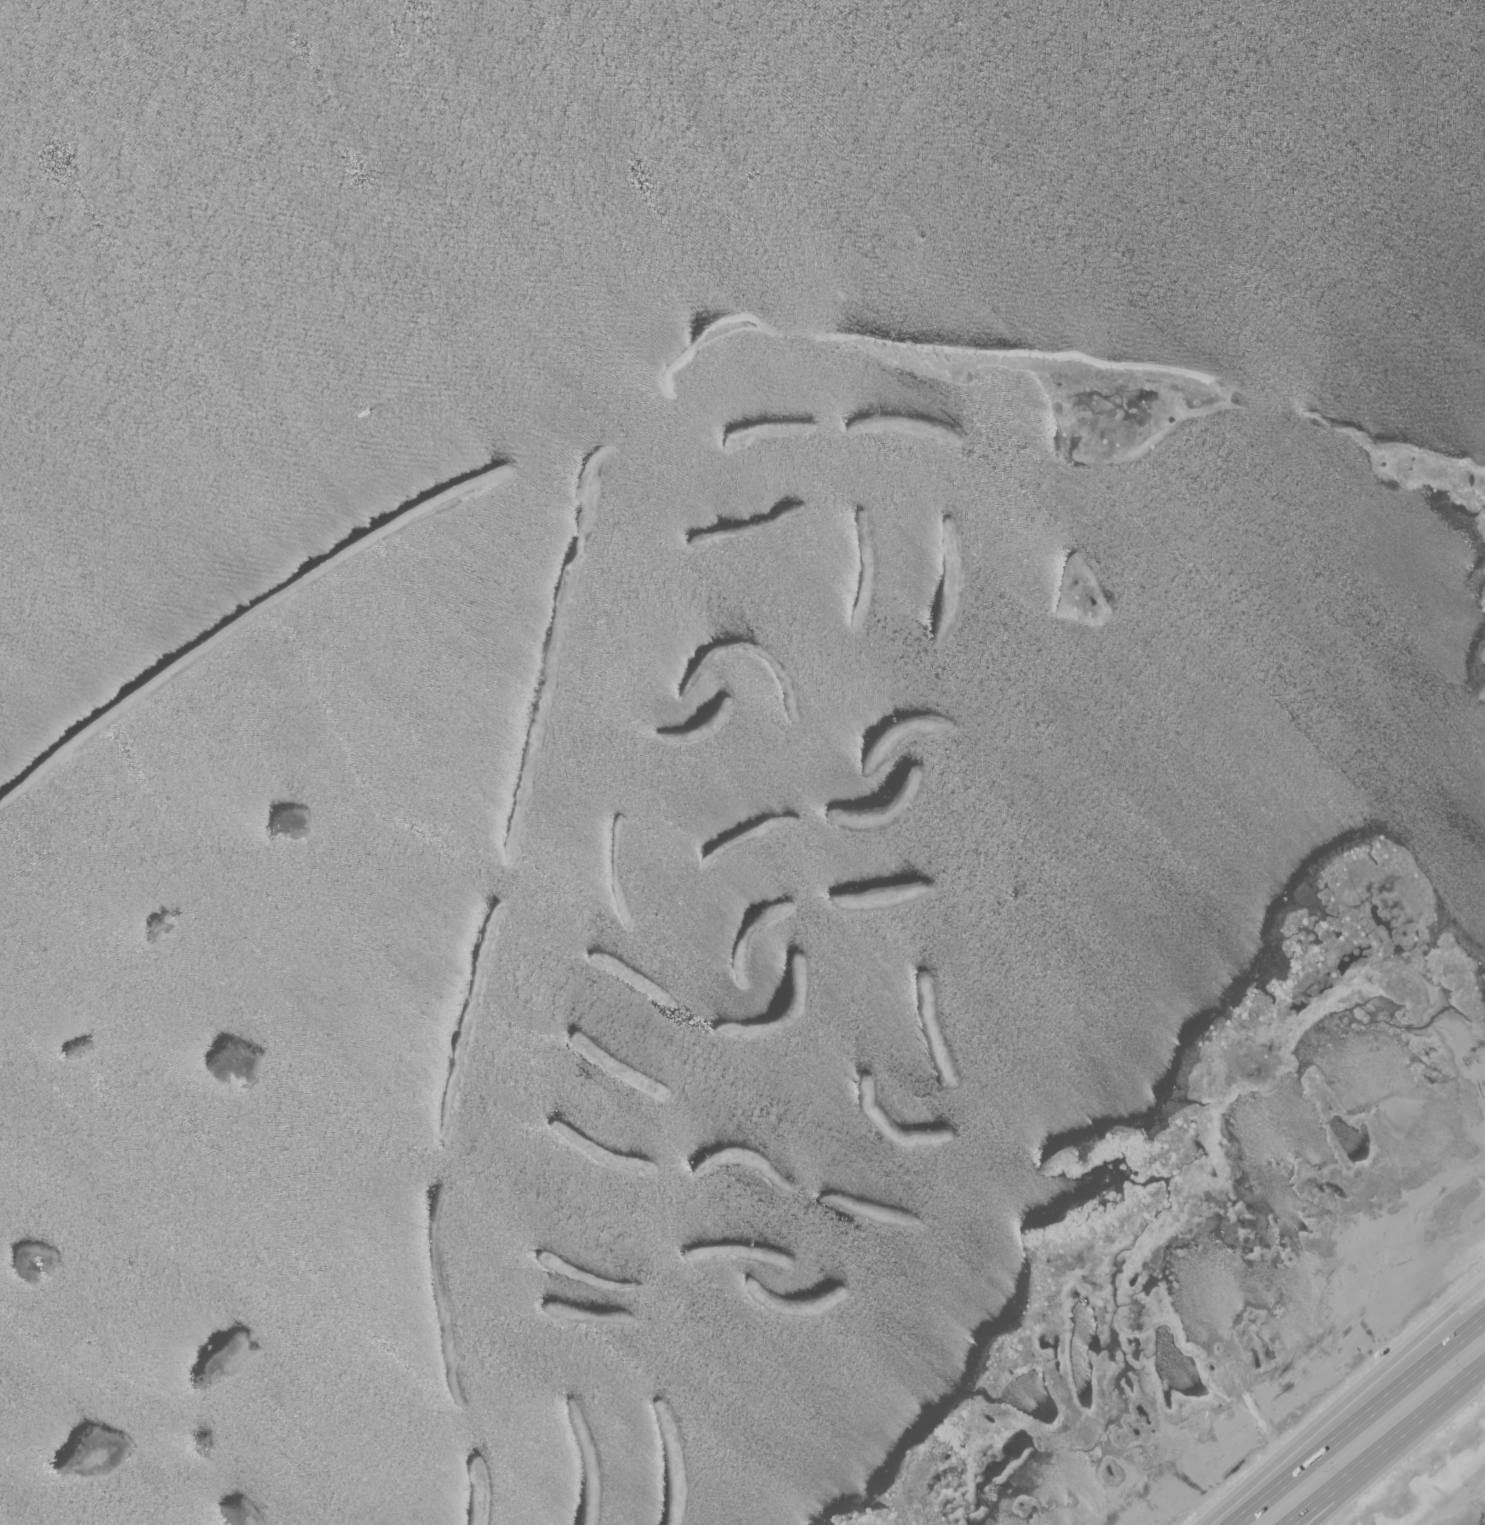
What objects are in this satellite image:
road: (1344, 1402)
road: (1357, 1419)
road: (1386, 1444)
road: (1380, 1456)

